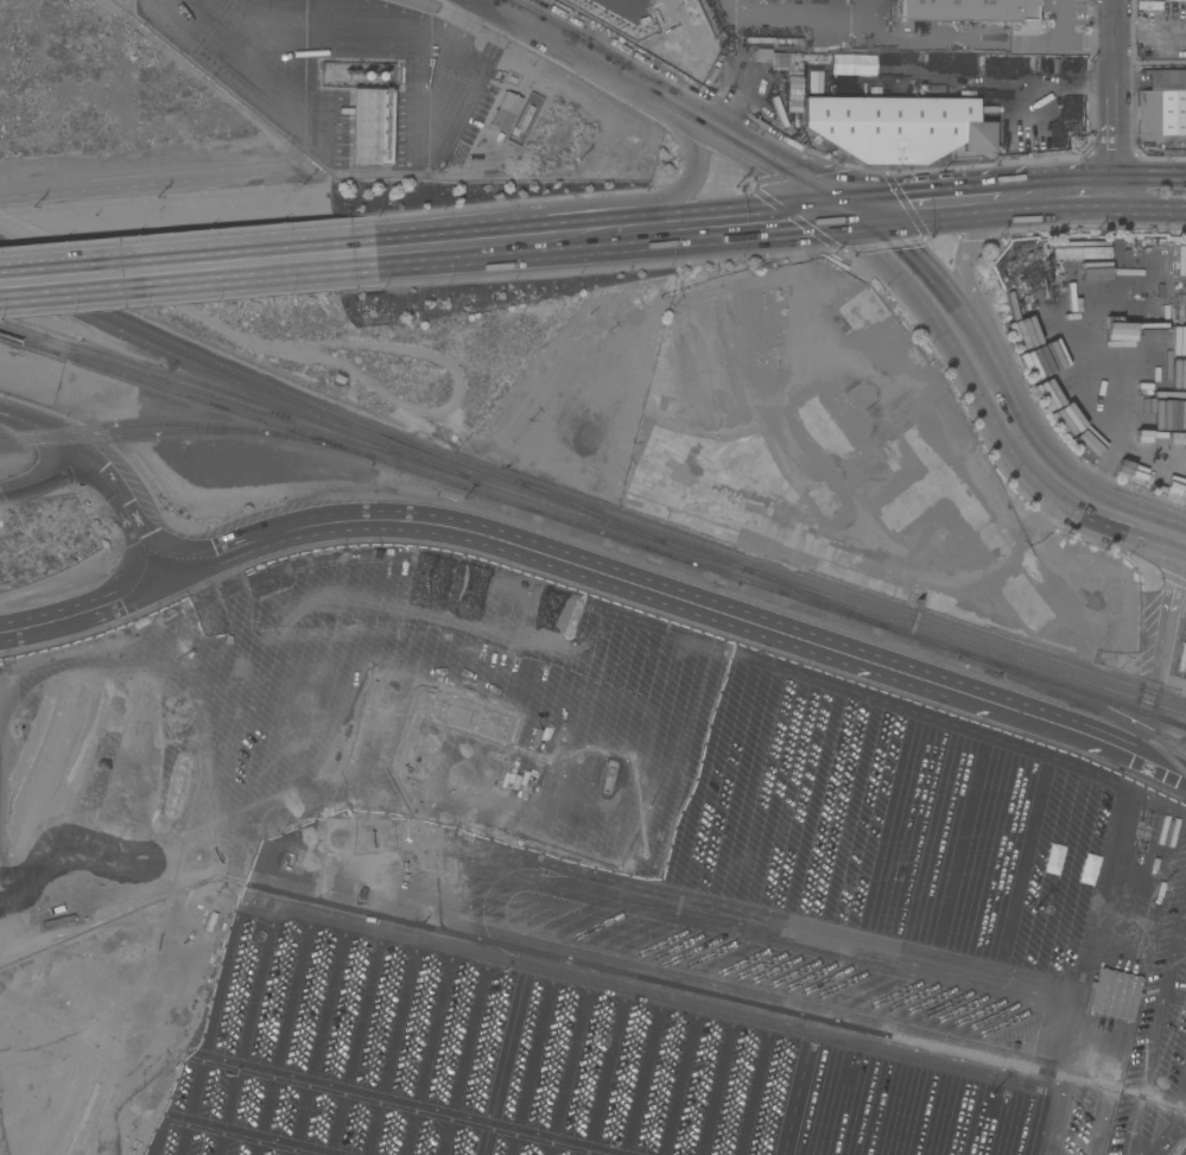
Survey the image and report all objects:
building: (1148, 5)
building: (966, 9)
road: (519, 11)
road: (879, 14)
road: (803, 18)
road: (1059, 20)
road: (996, 38)
building: (1185, 50)
building: (851, 64)
road: (259, 65)
building: (775, 66)
road: (1152, 68)
road: (442, 81)
building: (926, 81)
building: (813, 82)
road: (1117, 88)
building: (932, 89)
road: (1057, 89)
building: (1162, 103)
building: (506, 112)
road: (698, 113)
building: (372, 126)
building: (896, 127)
road: (372, 131)
building: (1167, 150)
road: (690, 171)
road: (1106, 177)
road: (968, 184)
road: (881, 199)
road: (1152, 209)
traffic signals: (854, 210)
road: (1072, 210)
road: (892, 215)
road: (979, 216)
road: (721, 222)
road: (481, 243)
building: (1116, 247)
building: (1078, 250)
building: (1175, 259)
road: (186, 268)
road: (960, 269)
road: (913, 273)
building: (1143, 341)
railway: (217, 374)
building: (1169, 374)
building: (338, 379)
railway: (177, 392)
railway: (218, 394)
road: (1098, 411)
building: (1064, 418)
railway: (178, 424)
railway: (138, 434)
road: (104, 469)
road: (1044, 470)
road: (1098, 471)
road: (43, 477)
railway: (584, 503)
railway: (594, 512)
road: (250, 538)
road: (1181, 538)
railway: (769, 589)
railway: (811, 591)
railway: (823, 601)
road: (1166, 605)
road: (87, 609)
road: (765, 629)
road: (717, 645)
road: (1171, 679)
railway: (1079, 702)
railway: (1173, 723)
building: (1156, 829)
building: (1115, 995)
road: (1174, 999)
road: (1154, 1027)
road: (975, 1060)
road: (797, 1089)
road: (1173, 1122)

